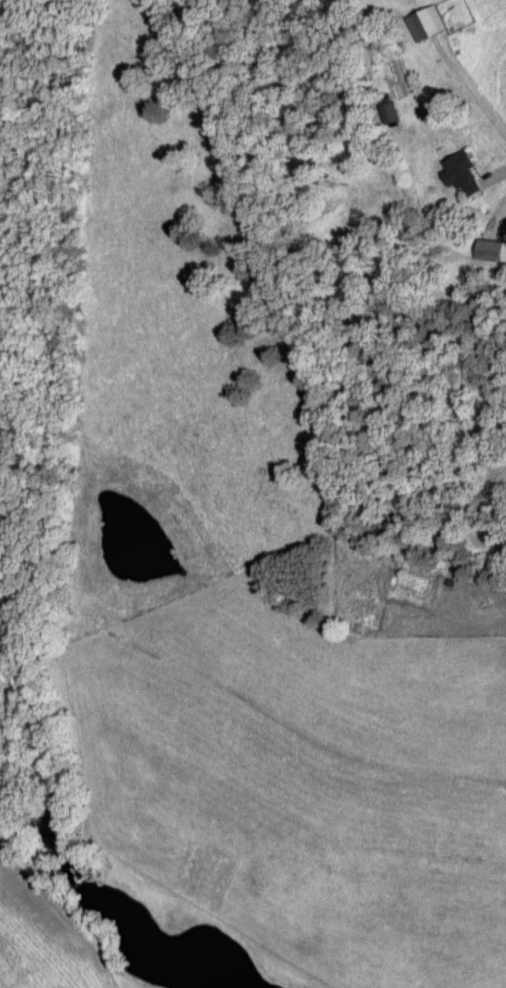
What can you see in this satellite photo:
building: (426, 26)
building: (389, 112)
building: (463, 176)
building: (492, 253)
road: (420, 315)

